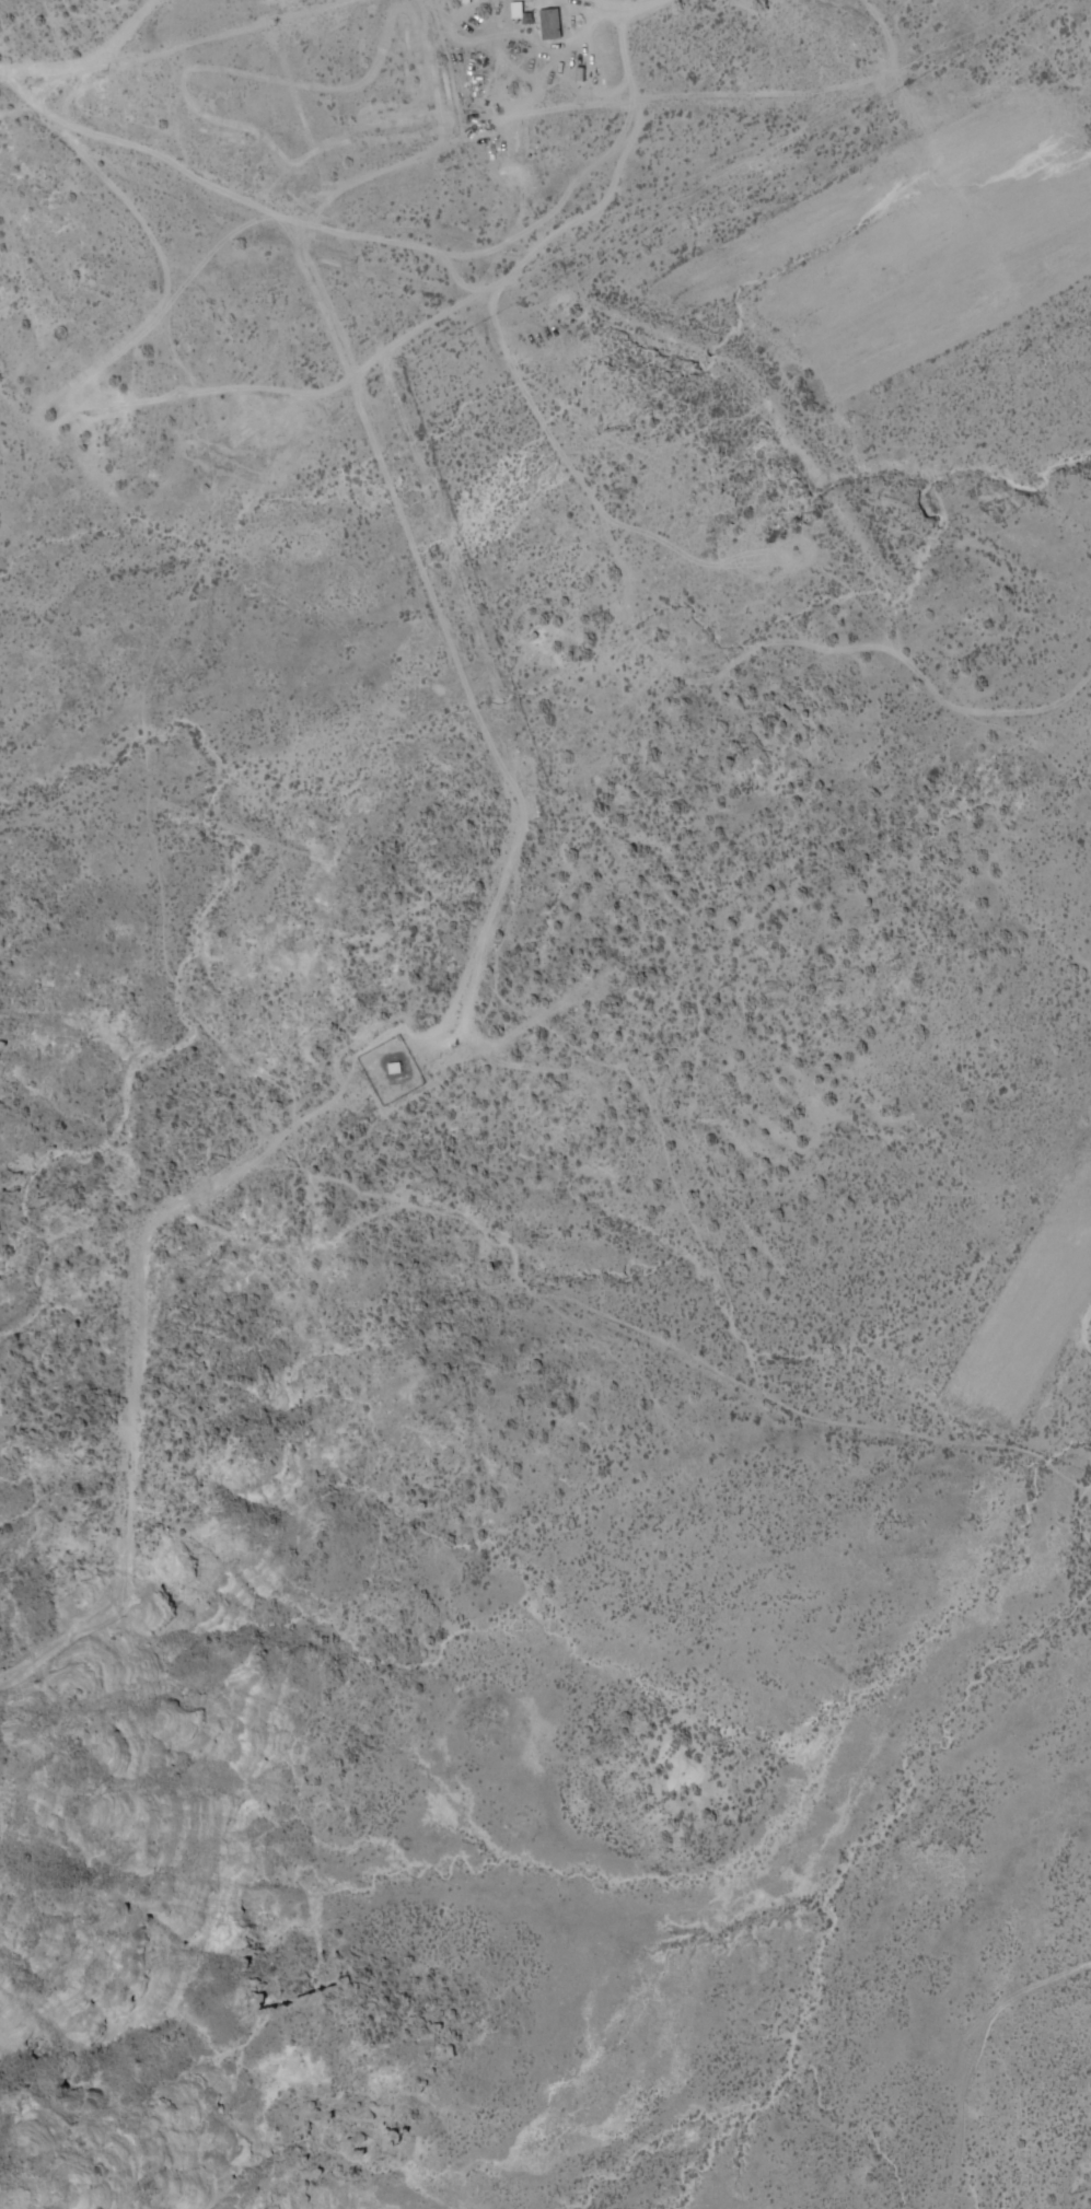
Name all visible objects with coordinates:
road: (93, 62)
road: (358, 181)
road: (131, 1402)

